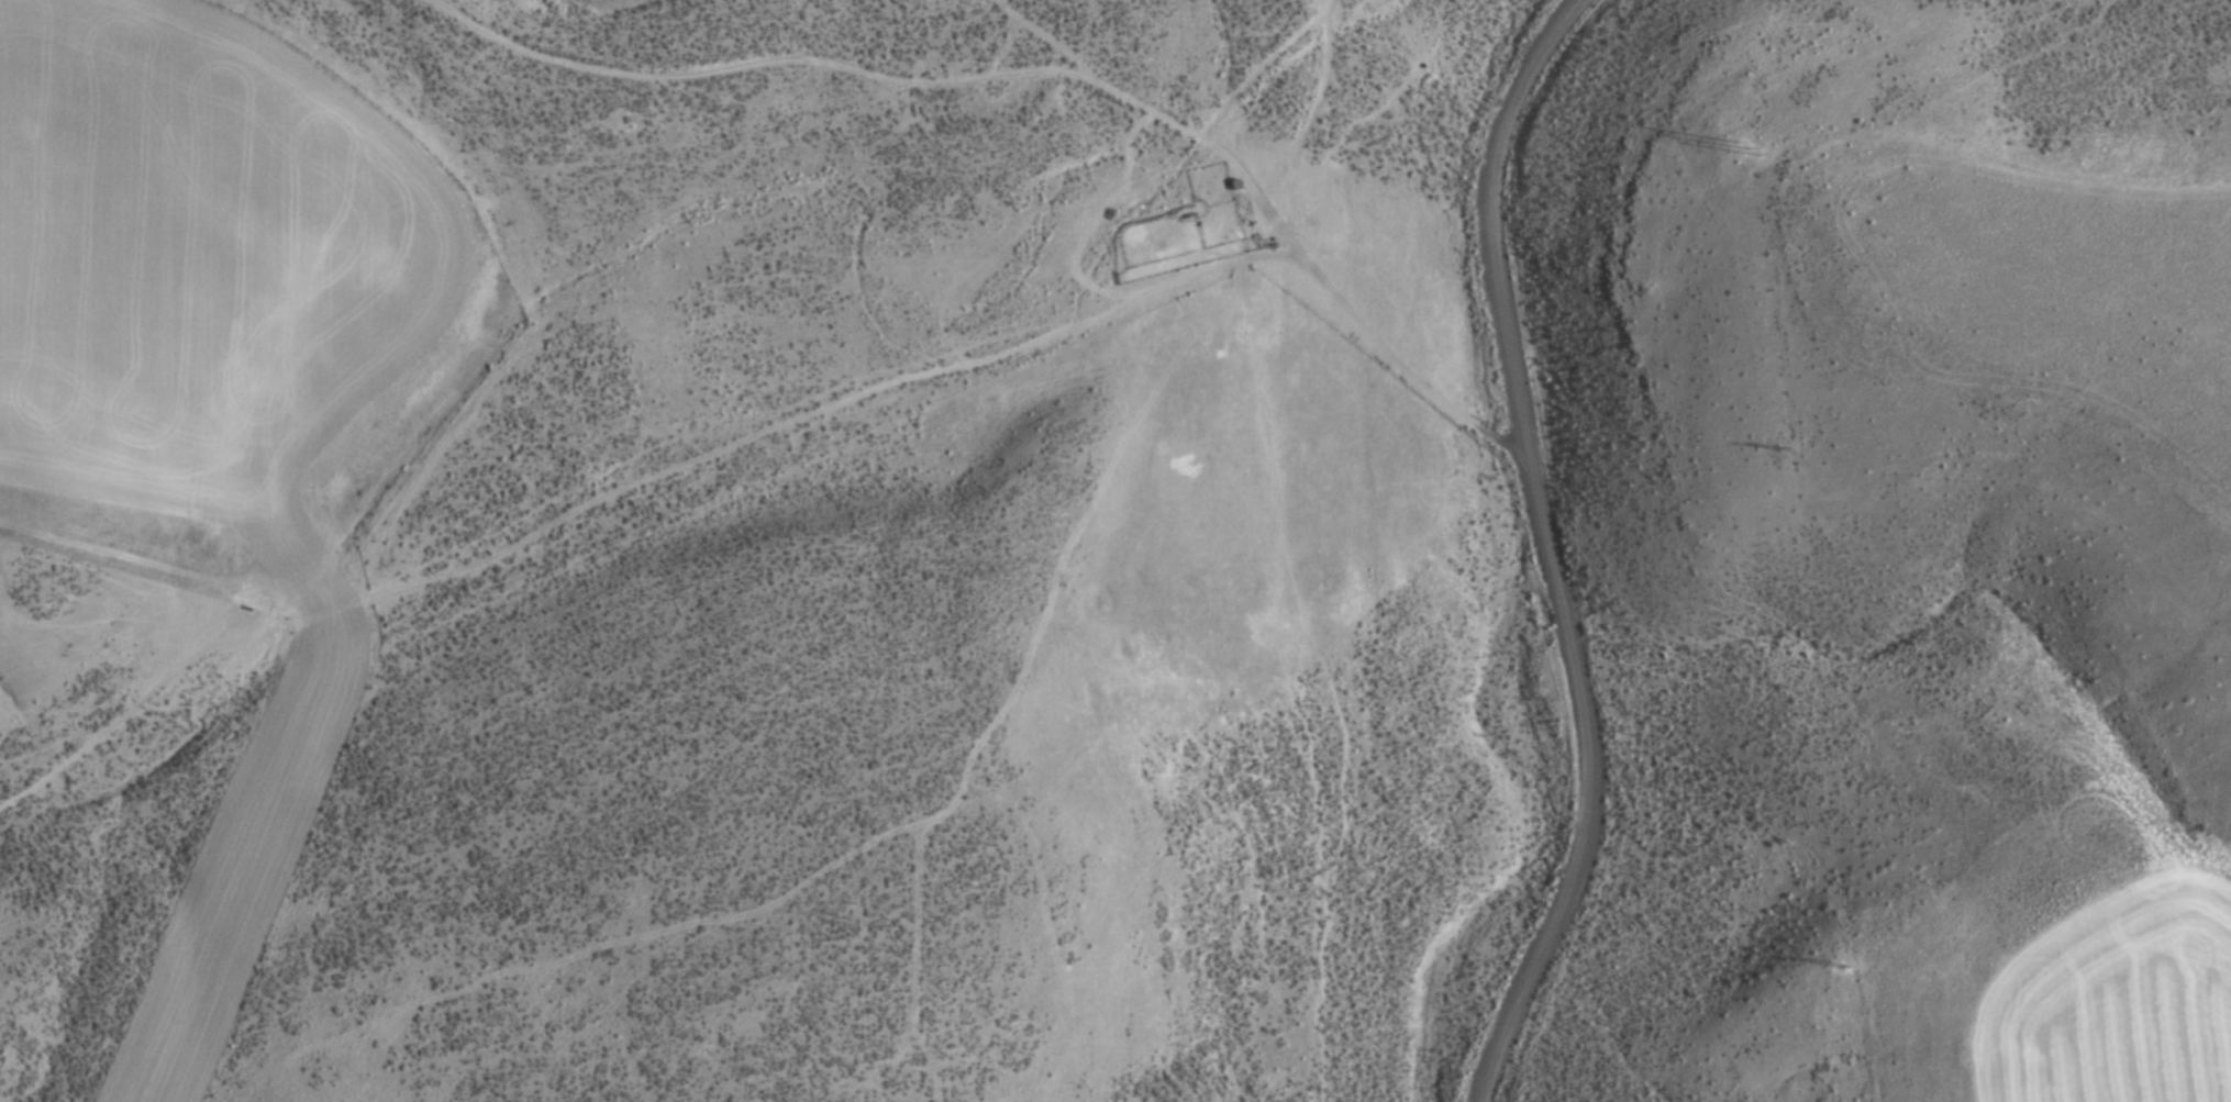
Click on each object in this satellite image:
road: (1554, 550)

